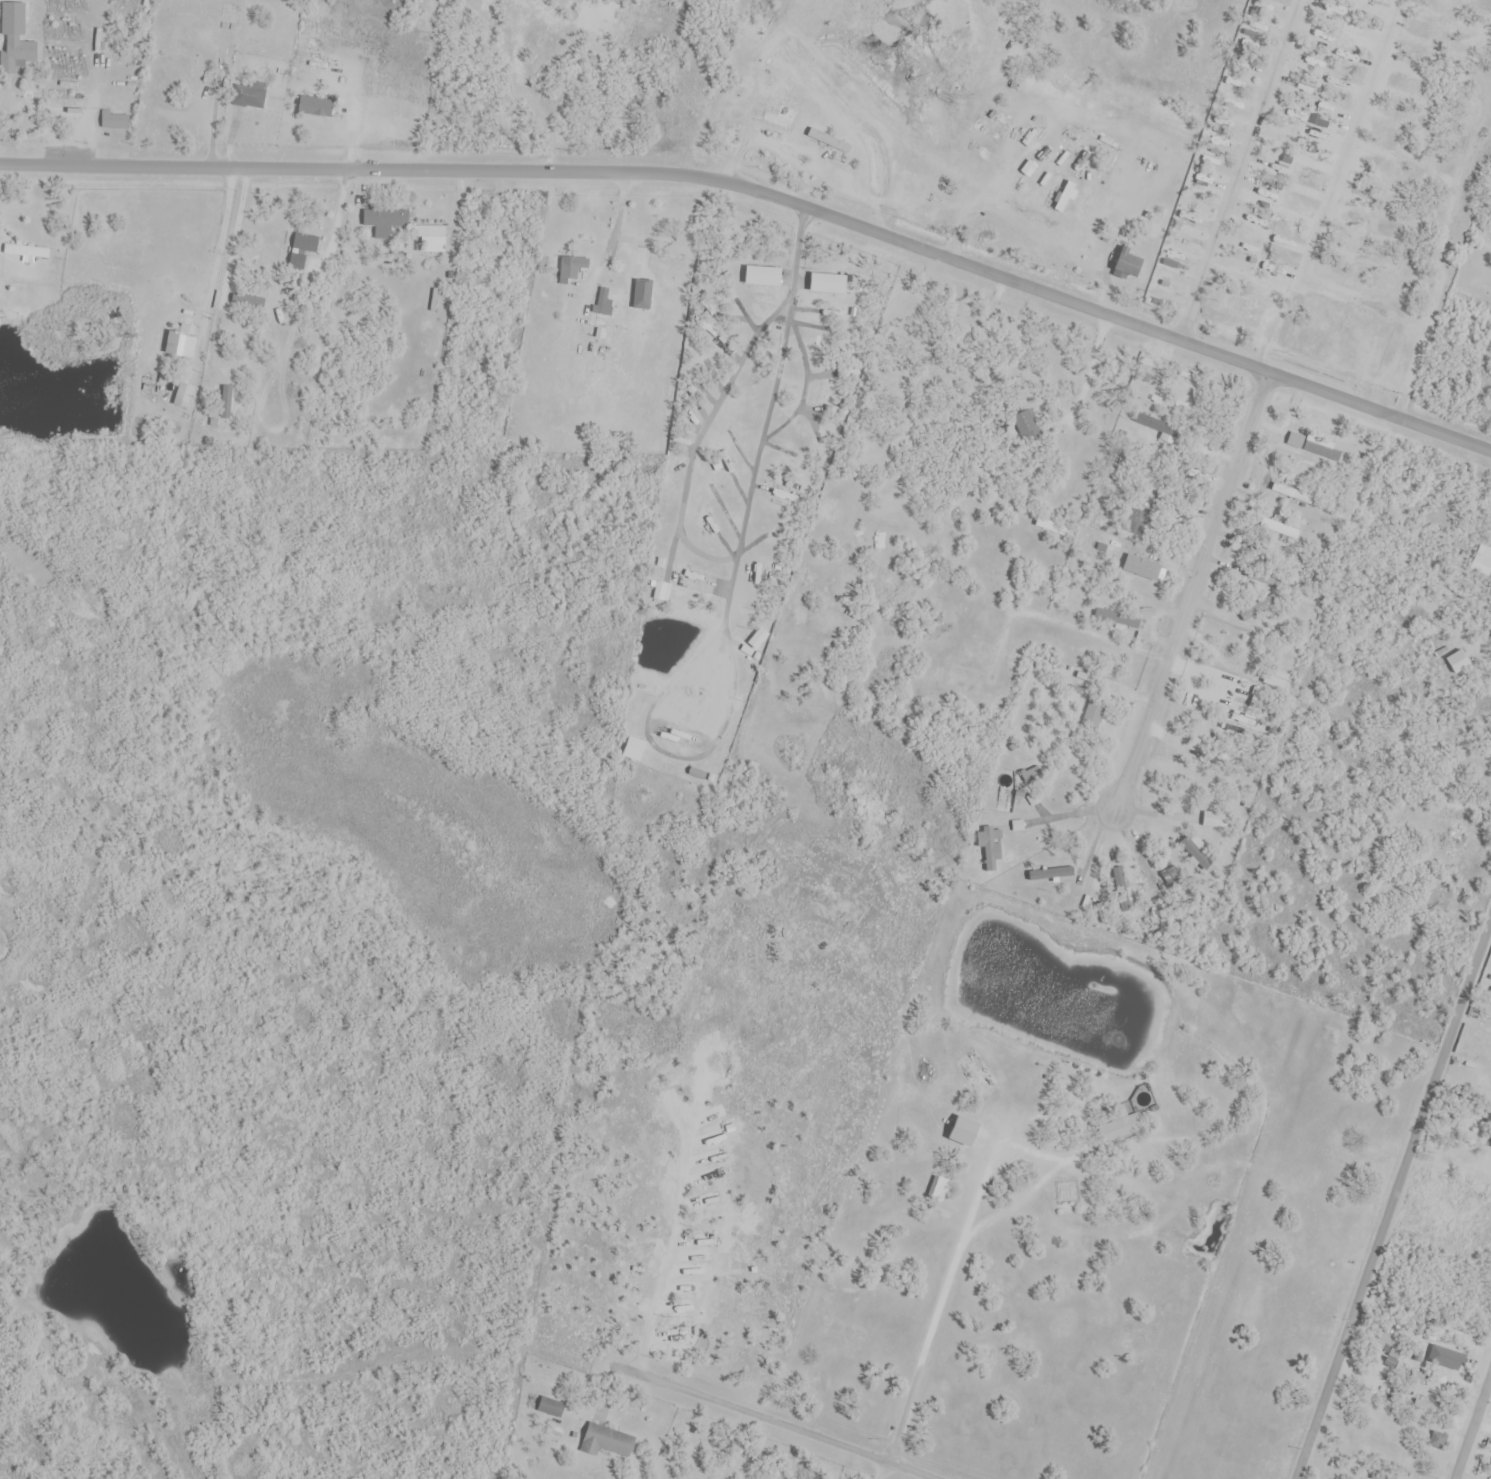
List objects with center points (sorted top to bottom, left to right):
building: (231, 17)
building: (15, 41)
building: (249, 95)
road: (211, 106)
building: (314, 107)
building: (782, 118)
building: (114, 122)
building: (732, 136)
road: (1237, 170)
road: (766, 195)
building: (382, 218)
road: (614, 228)
road: (214, 241)
building: (429, 241)
building: (302, 250)
building: (26, 253)
building: (660, 257)
building: (571, 268)
building: (762, 276)
building: (827, 284)
building: (182, 343)
building: (151, 382)
building: (227, 395)
building: (180, 399)
road: (763, 420)
building: (1153, 424)
building: (1025, 425)
building: (1315, 450)
building: (1289, 490)
building: (1048, 525)
building: (1278, 525)
building: (1483, 557)
building: (696, 582)
road: (1191, 591)
building: (1255, 608)
building: (1108, 617)
building: (1457, 662)
building: (1276, 679)
building: (1229, 688)
building: (1094, 711)
building: (687, 715)
building: (683, 737)
building: (1214, 820)
building: (990, 847)
building: (1194, 854)
building: (1053, 875)
building: (1169, 881)
building: (976, 1073)
building: (1488, 1117)
building: (1117, 1129)
building: (963, 1132)
building: (1489, 1144)
building: (938, 1192)
road: (1393, 1197)
building: (1405, 1324)
building: (1393, 1349)
building: (550, 1407)
building: (1426, 1407)
road: (774, 1421)
road: (1471, 1423)
building: (1421, 1434)
building: (606, 1441)
building: (1378, 1477)

